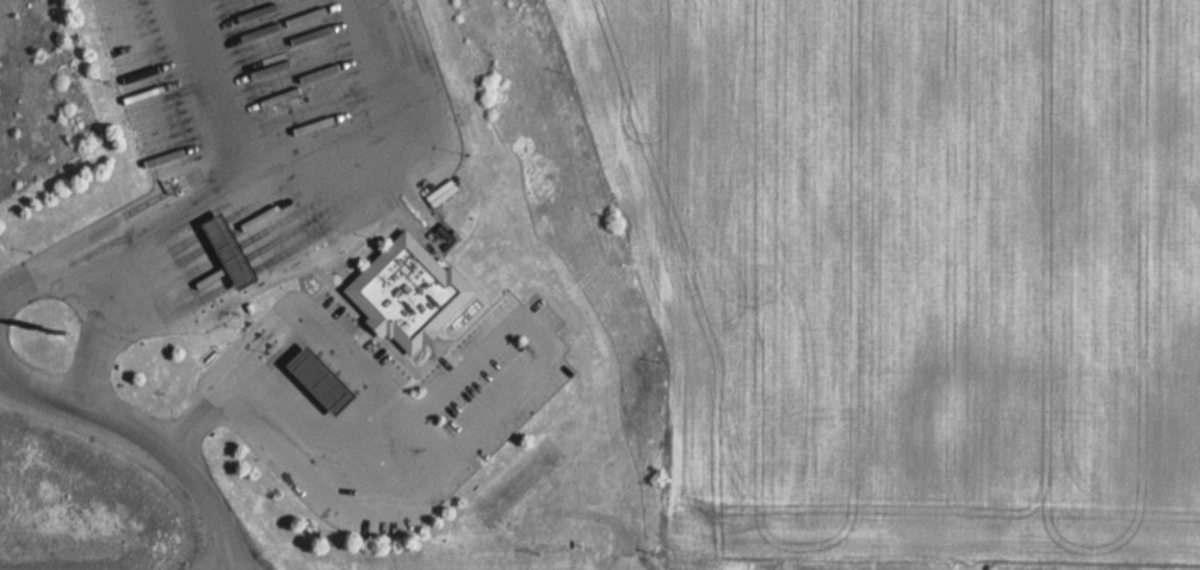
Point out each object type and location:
road: (123, 234)
building: (222, 247)
building: (404, 289)
building: (313, 377)
road: (246, 413)
road: (146, 440)

